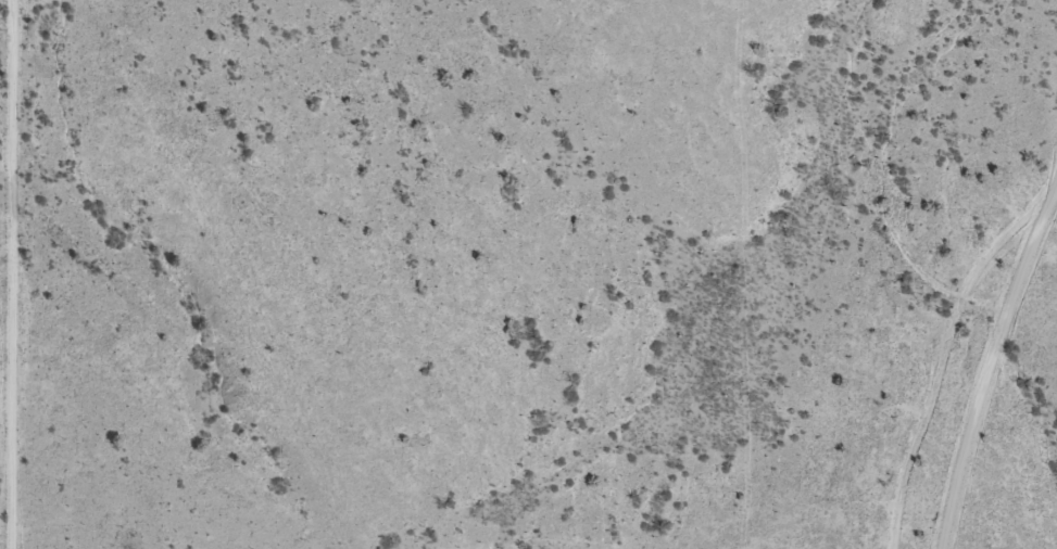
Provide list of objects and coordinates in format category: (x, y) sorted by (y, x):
road: (967, 358)

